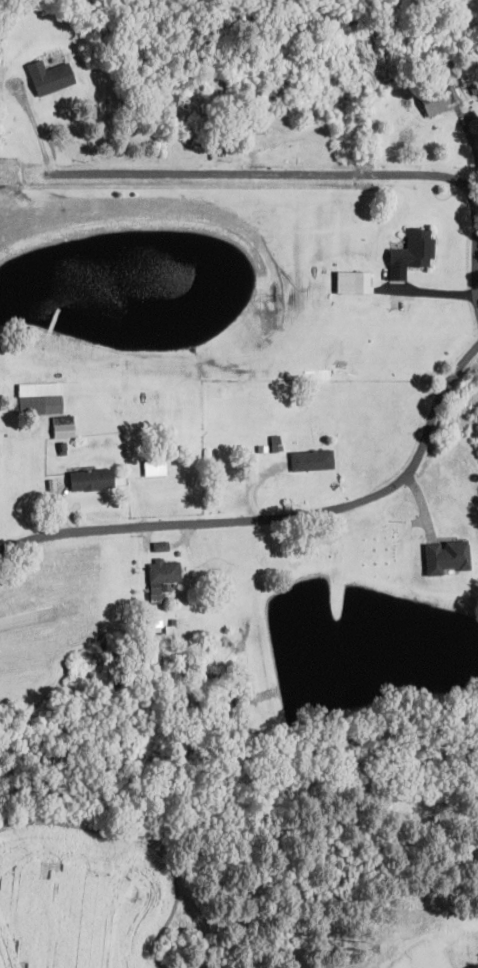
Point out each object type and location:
building: (50, 76)
building: (441, 101)
road: (273, 179)
building: (412, 254)
building: (355, 282)
building: (41, 400)
building: (64, 427)
building: (276, 443)
building: (312, 460)
building: (155, 467)
building: (91, 479)
road: (278, 523)
building: (447, 557)
building: (163, 578)

